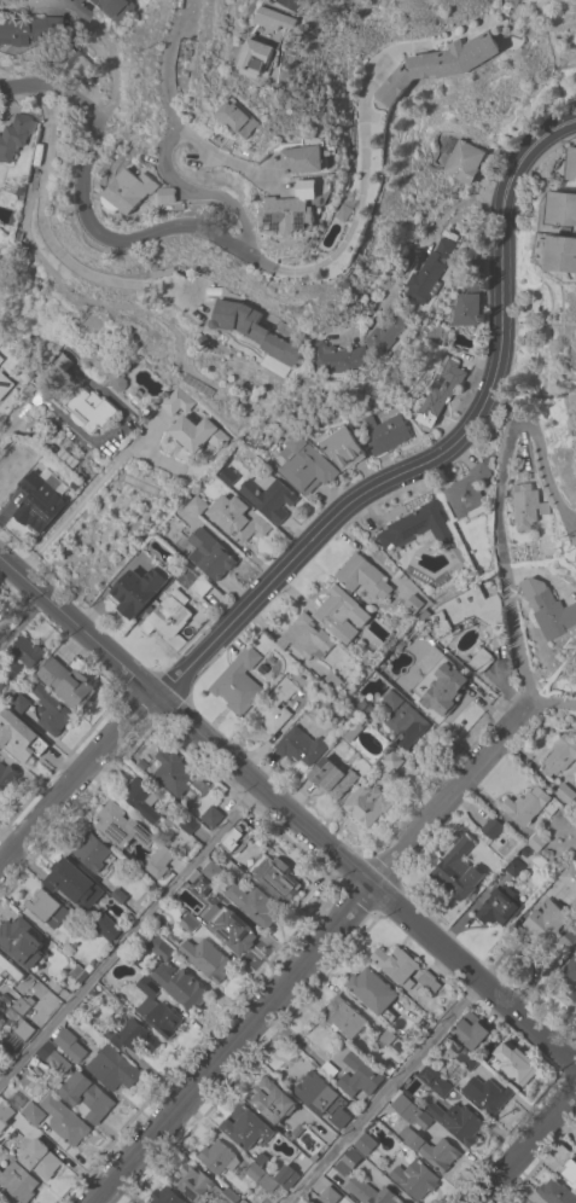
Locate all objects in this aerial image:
road: (283, 1)
building: (112, 8)
building: (284, 19)
road: (97, 28)
building: (29, 29)
building: (264, 58)
building: (75, 63)
building: (438, 65)
building: (243, 118)
building: (13, 136)
road: (167, 143)
road: (227, 159)
building: (308, 159)
building: (462, 162)
building: (570, 164)
road: (366, 179)
building: (132, 192)
building: (171, 196)
road: (89, 209)
building: (560, 210)
building: (296, 211)
building: (348, 213)
road: (43, 225)
road: (423, 232)
building: (562, 254)
building: (471, 271)
building: (429, 273)
building: (466, 307)
building: (389, 329)
building: (255, 331)
building: (575, 344)
building: (338, 359)
building: (0, 360)
building: (575, 360)
building: (53, 367)
building: (4, 385)
building: (440, 393)
building: (175, 402)
building: (89, 411)
road: (23, 412)
building: (197, 434)
building: (385, 434)
road: (539, 447)
building: (343, 448)
road: (442, 453)
building: (304, 465)
building: (227, 477)
building: (467, 493)
building: (267, 496)
road: (89, 498)
building: (39, 501)
building: (196, 505)
building: (526, 506)
building: (237, 518)
building: (415, 528)
building: (209, 554)
building: (575, 557)
road: (507, 560)
building: (362, 576)
building: (200, 586)
building: (138, 591)
building: (412, 604)
building: (462, 611)
building: (168, 615)
building: (341, 615)
building: (554, 615)
road: (22, 626)
building: (306, 638)
building: (25, 652)
building: (479, 661)
building: (392, 673)
building: (441, 678)
building: (2, 681)
building: (331, 681)
building: (239, 682)
building: (66, 684)
road: (557, 701)
building: (19, 703)
building: (275, 707)
building: (366, 708)
building: (51, 711)
building: (403, 720)
building: (351, 730)
building: (19, 737)
building: (299, 746)
building: (559, 756)
building: (392, 761)
building: (176, 775)
building: (6, 777)
building: (331, 778)
road: (75, 781)
building: (565, 794)
building: (141, 800)
building: (367, 804)
building: (525, 806)
road: (287, 814)
building: (211, 816)
building: (186, 824)
building: (121, 826)
building: (491, 829)
building: (536, 842)
building: (231, 848)
building: (91, 852)
building: (157, 861)
building: (513, 867)
building: (455, 870)
building: (211, 871)
building: (569, 877)
building: (274, 878)
building: (70, 883)
building: (198, 885)
building: (118, 896)
building: (217, 901)
building: (252, 903)
building: (499, 906)
building: (46, 908)
building: (187, 923)
building: (104, 928)
building: (551, 928)
road: (129, 936)
building: (240, 937)
building: (19, 941)
road: (312, 954)
building: (205, 959)
building: (396, 965)
building: (8, 970)
building: (570, 977)
building: (175, 978)
building: (427, 981)
building: (147, 987)
building: (372, 993)
building: (22, 1005)
building: (158, 1017)
building: (343, 1017)
building: (23, 1030)
building: (471, 1031)
building: (133, 1036)
building: (385, 1036)
building: (69, 1045)
building: (1, 1054)
building: (52, 1057)
building: (465, 1059)
building: (514, 1064)
building: (112, 1069)
building: (357, 1076)
building: (434, 1081)
road: (382, 1092)
building: (411, 1092)
building: (485, 1094)
building: (87, 1097)
building: (322, 1099)
building: (272, 1100)
building: (31, 1114)
building: (4, 1115)
building: (63, 1120)
building: (421, 1122)
building: (458, 1122)
building: (246, 1127)
building: (365, 1144)
road: (529, 1149)
building: (430, 1150)
building: (217, 1157)
building: (39, 1160)
building: (347, 1162)
building: (293, 1166)
building: (569, 1173)
building: (286, 1176)
building: (261, 1178)
building: (414, 1179)
building: (17, 1181)
building: (200, 1186)
building: (372, 1193)
building: (554, 1193)
building: (164, 1196)
building: (328, 1196)

